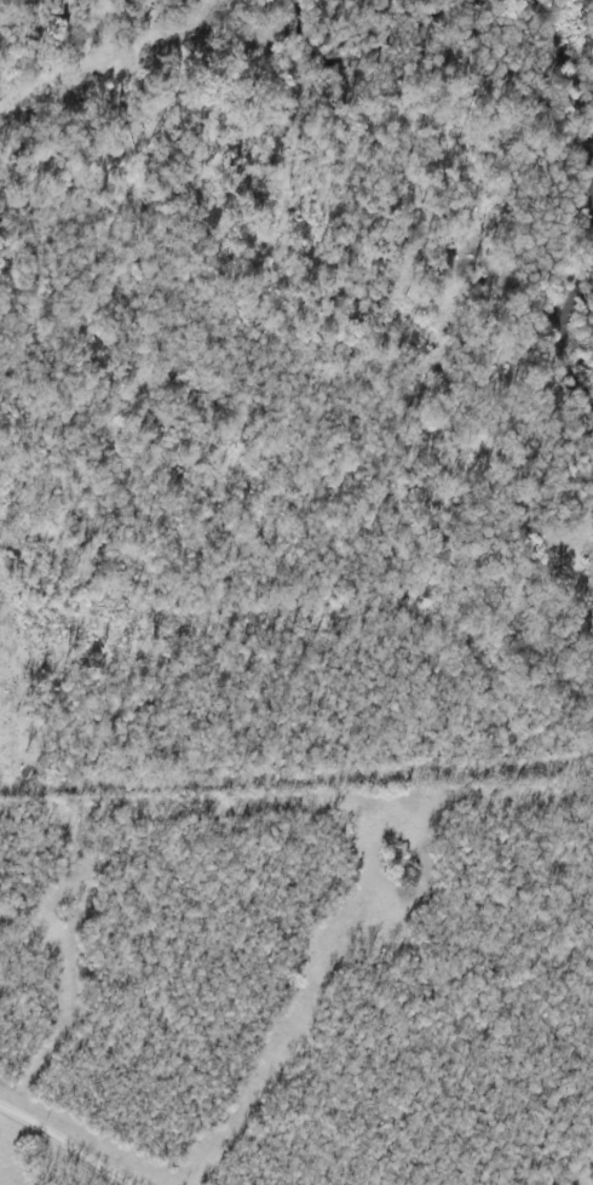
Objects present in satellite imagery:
river: (356, 32)
river: (566, 53)
river: (582, 310)
road: (65, 1146)

